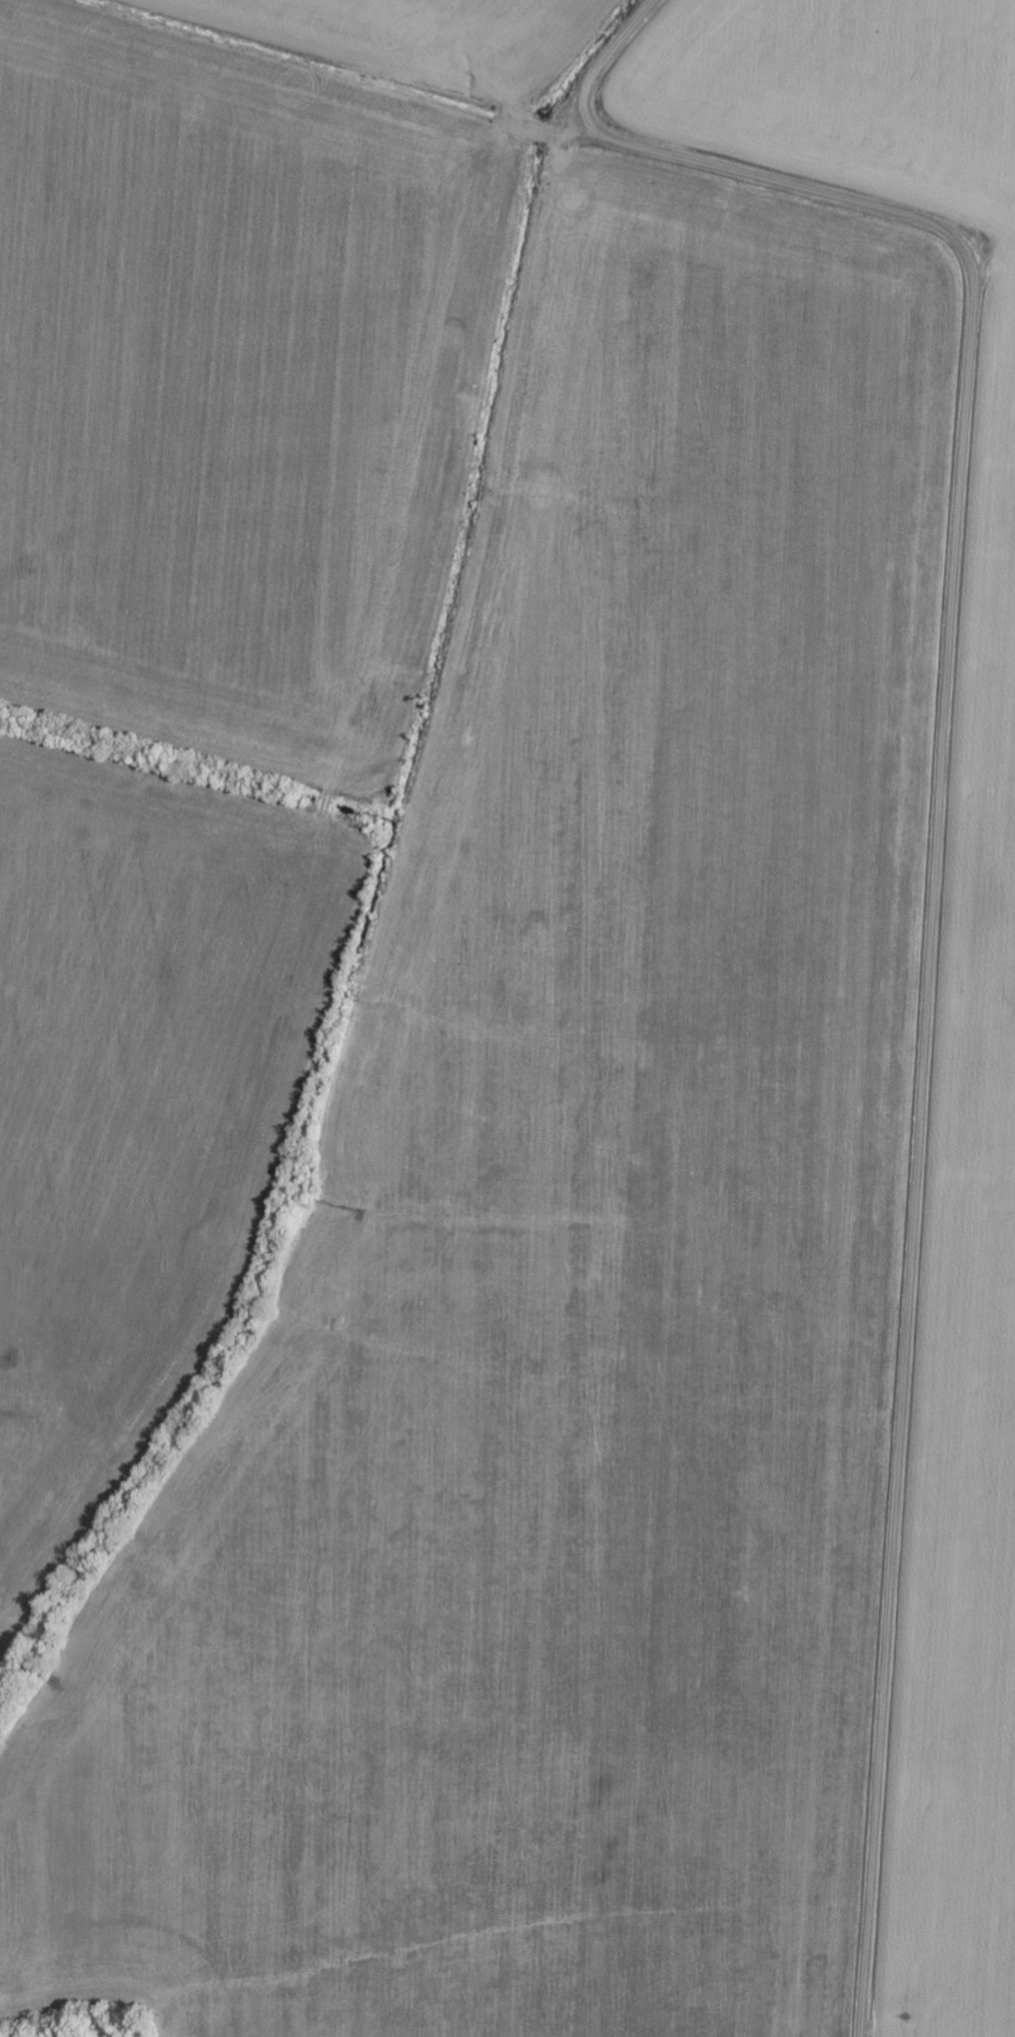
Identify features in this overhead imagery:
road: (935, 872)
crop: (971, 1165)

